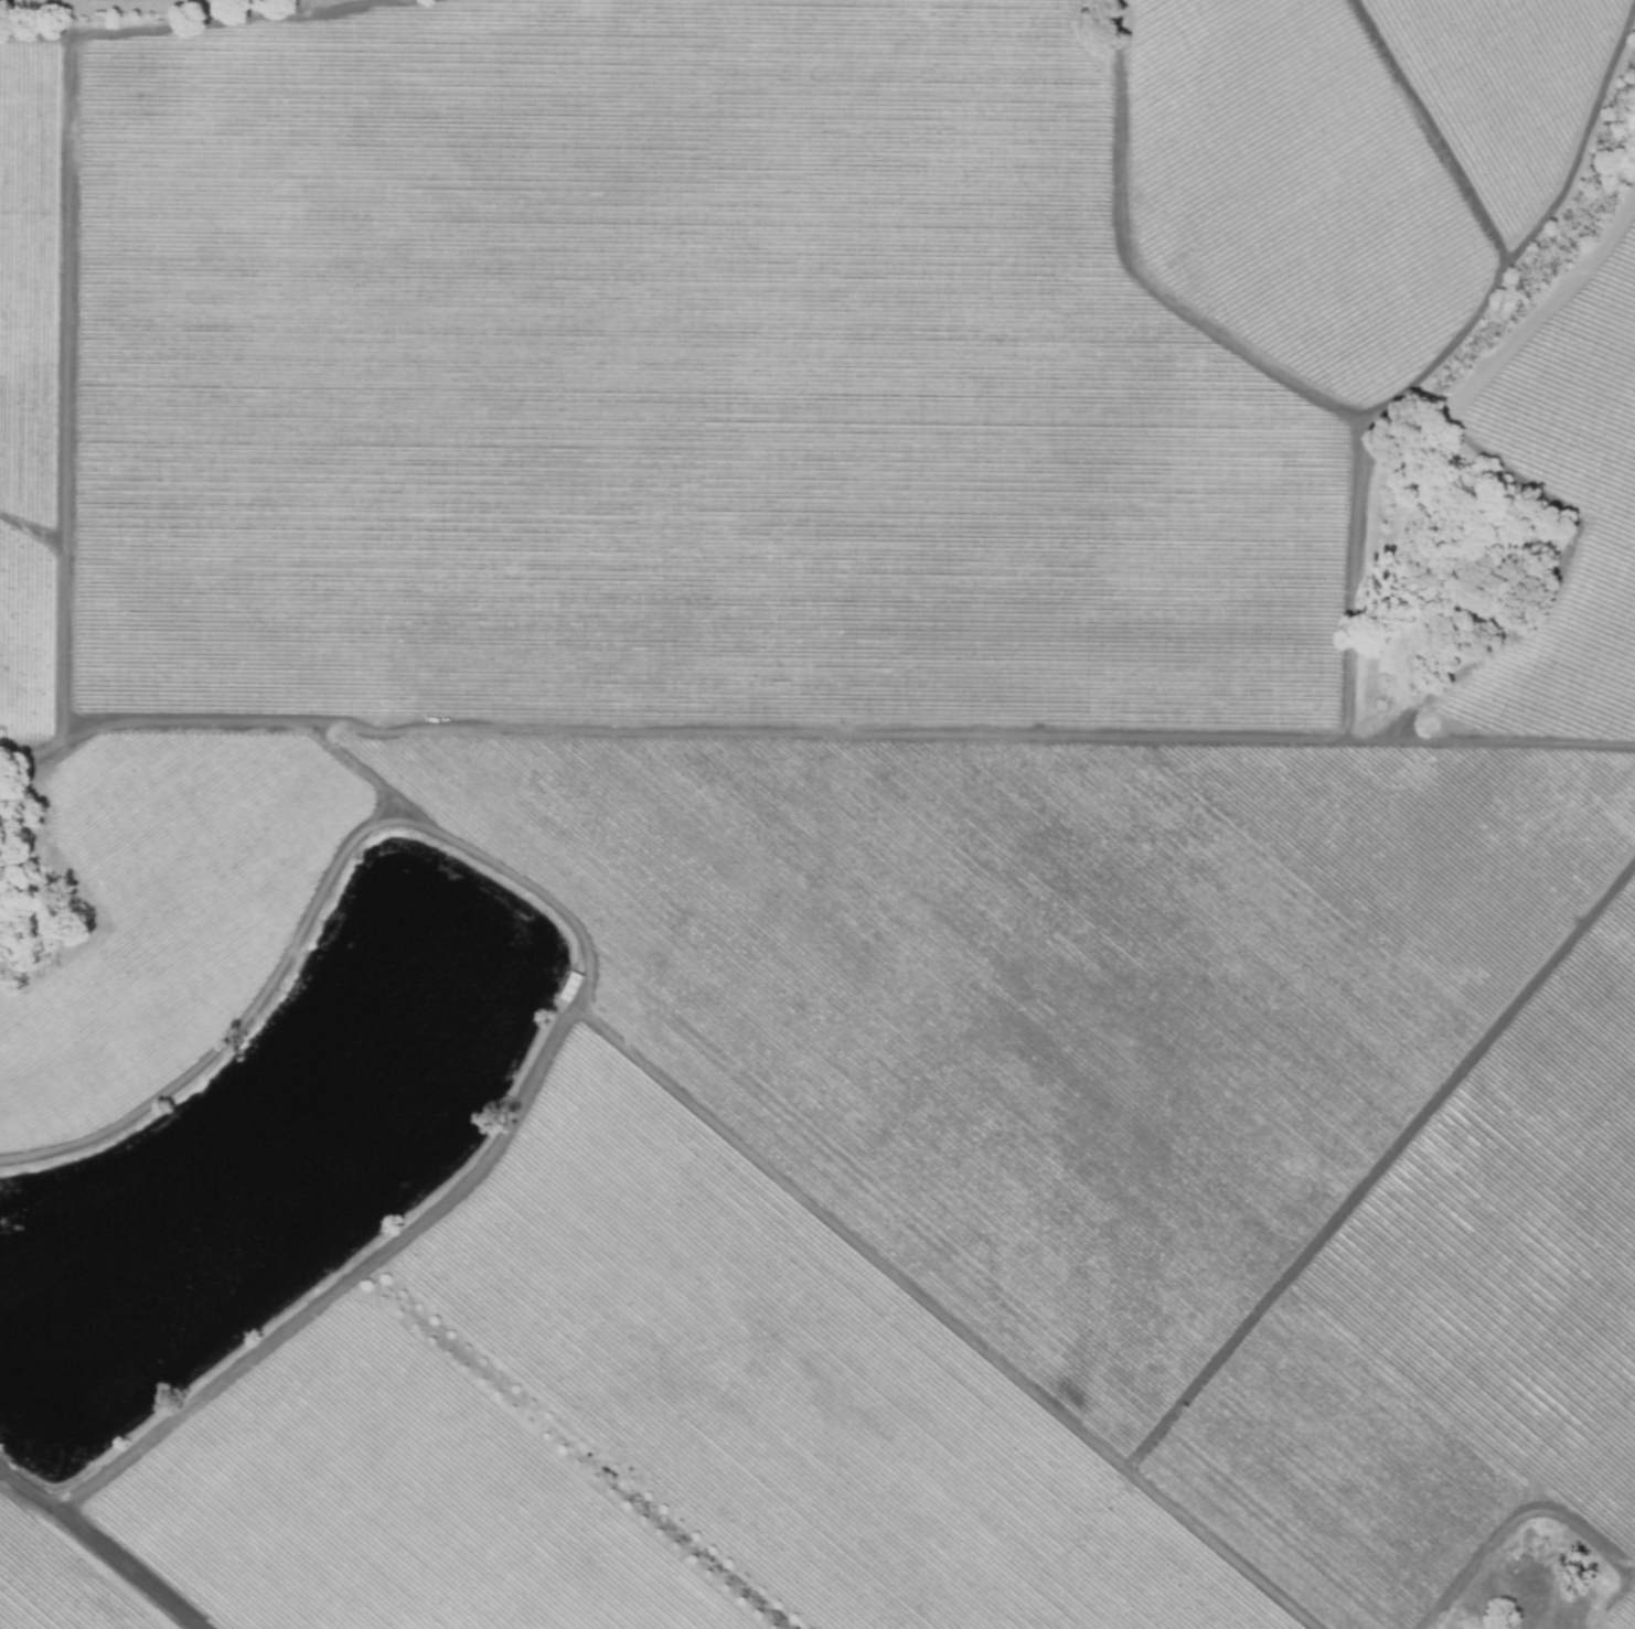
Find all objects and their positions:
road: (105, 1540)

